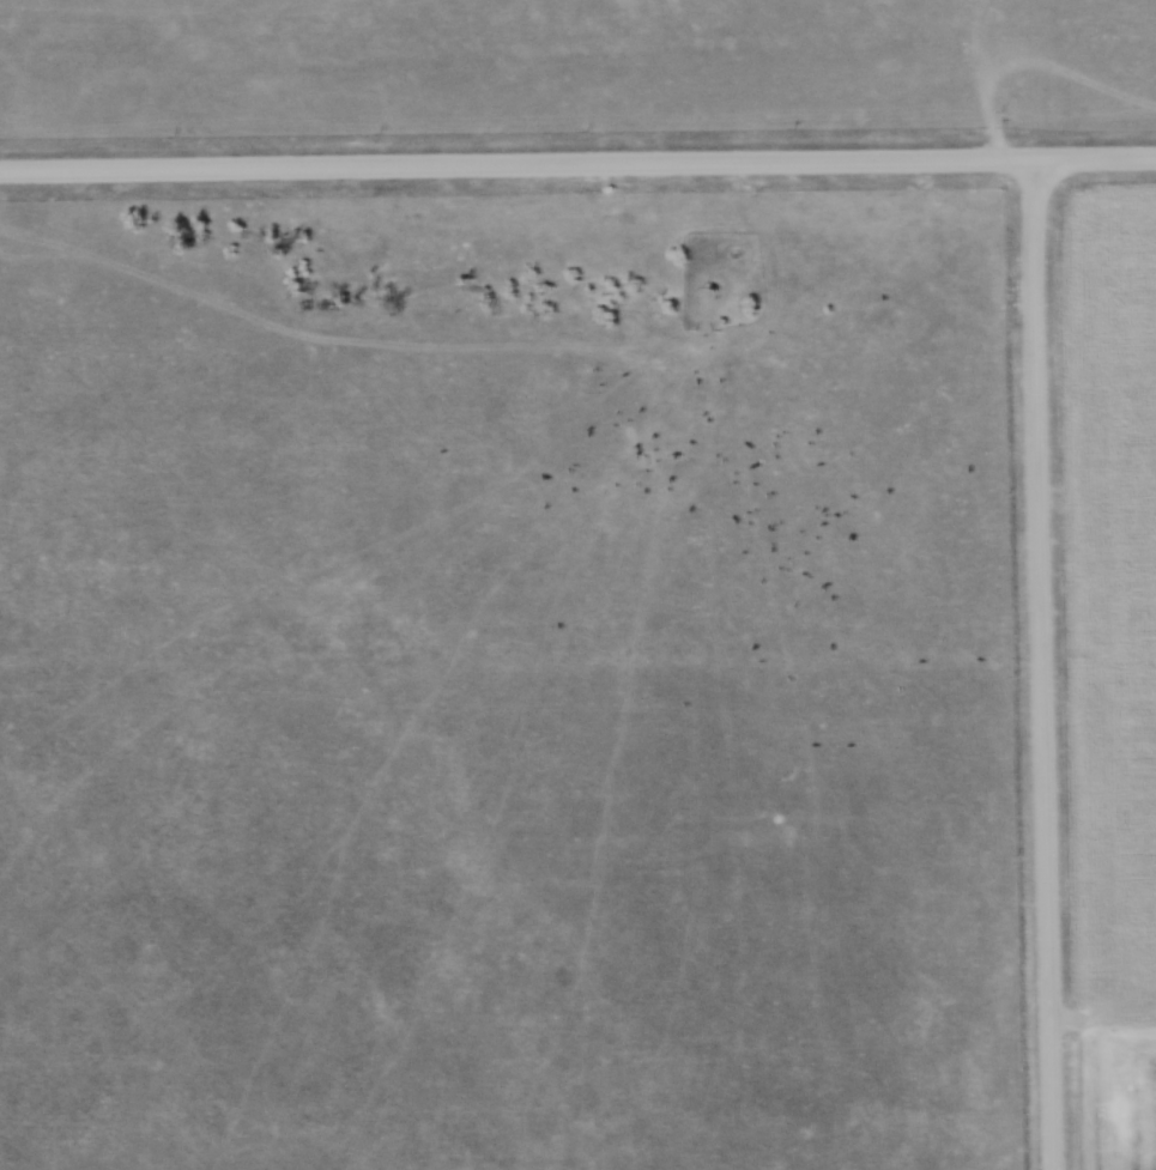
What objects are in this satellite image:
road: (1094, 158)
road: (515, 166)
road: (1043, 663)

